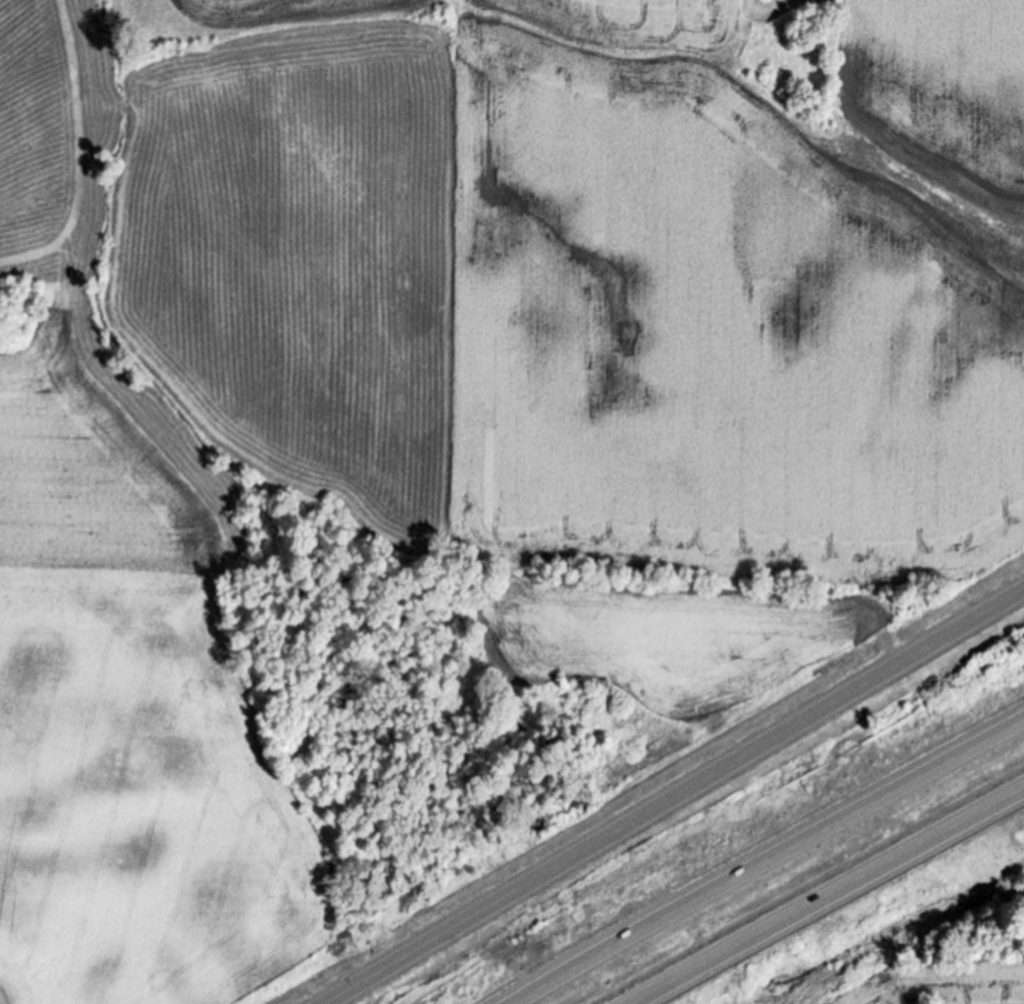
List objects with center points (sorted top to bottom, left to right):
road: (677, 798)
road: (766, 863)
road: (835, 900)

